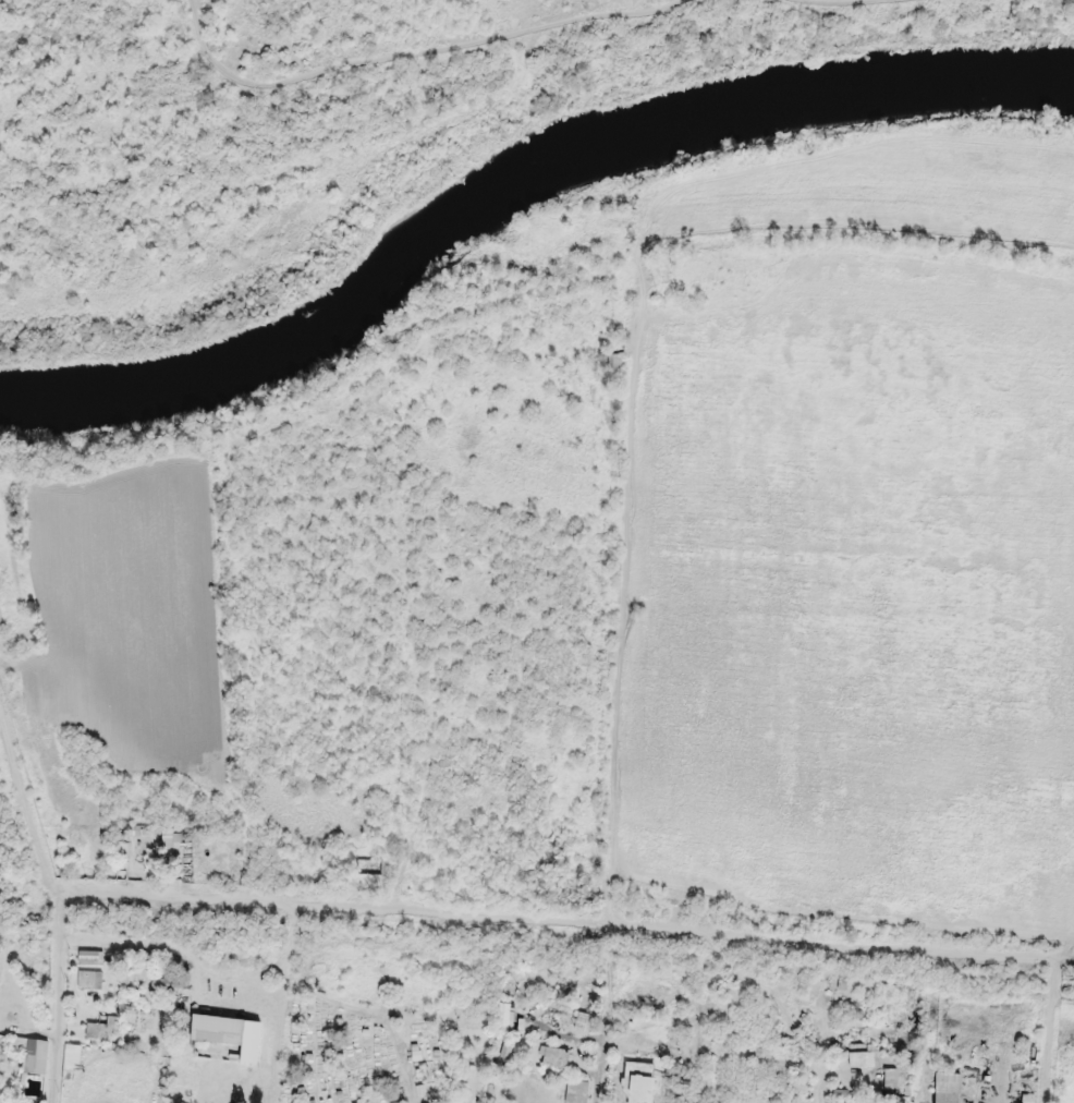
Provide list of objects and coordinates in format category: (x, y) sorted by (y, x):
river: (512, 178)
road: (32, 792)
building: (217, 1027)
park: (383, 1051)
building: (948, 1096)

